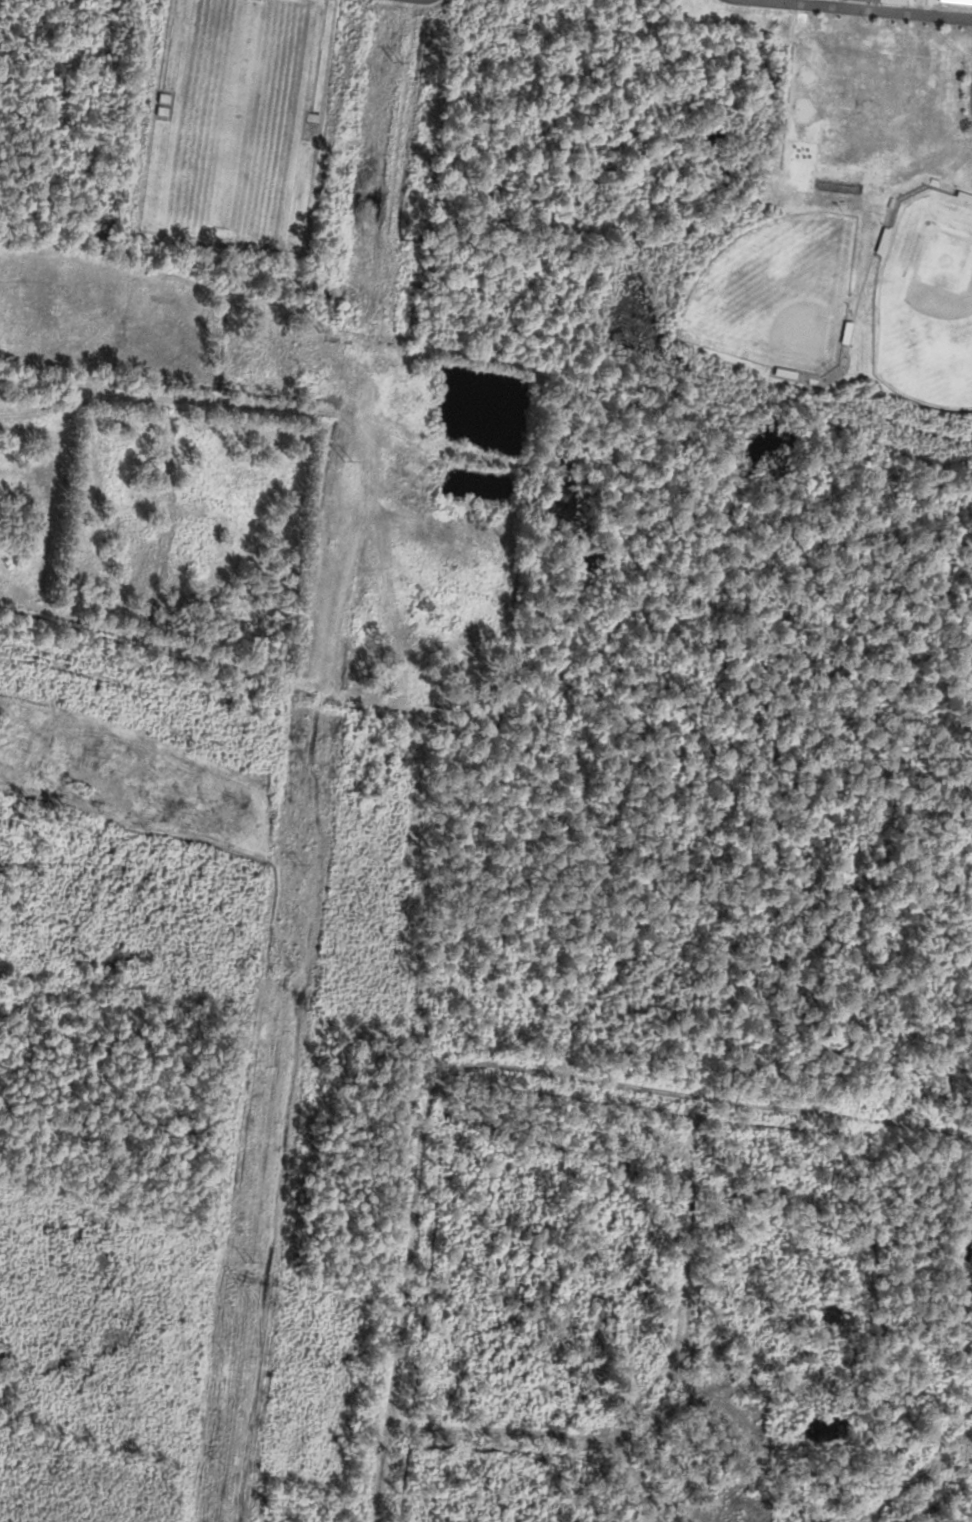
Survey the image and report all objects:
building: (875, 2)
building: (955, 2)
road: (867, 10)
power tower: (398, 62)
park: (776, 293)
park: (925, 302)
power tower: (345, 464)
power tower: (299, 867)
power tower: (250, 1263)

